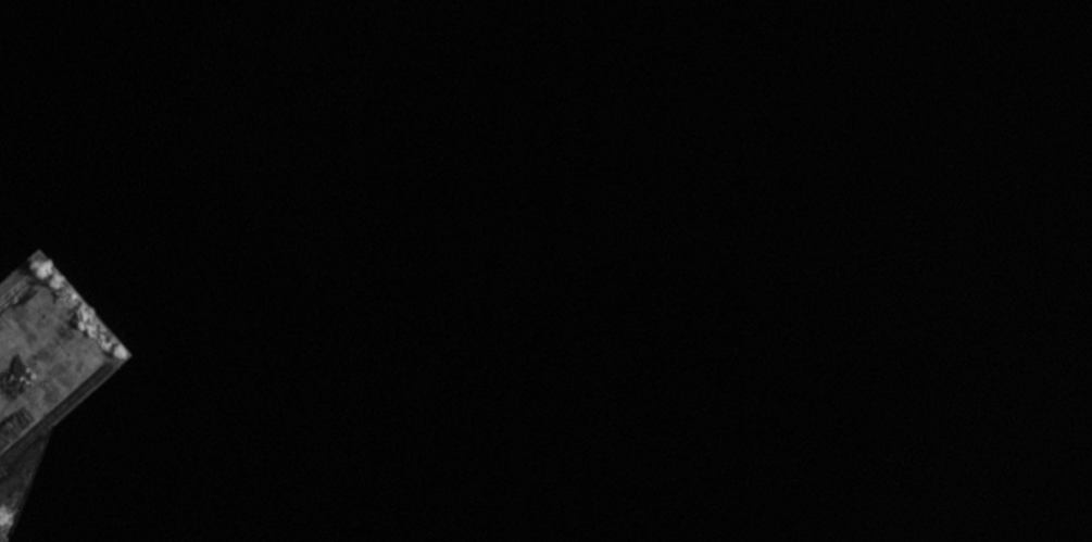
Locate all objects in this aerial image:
pier: (38, 374)
road: (10, 478)

